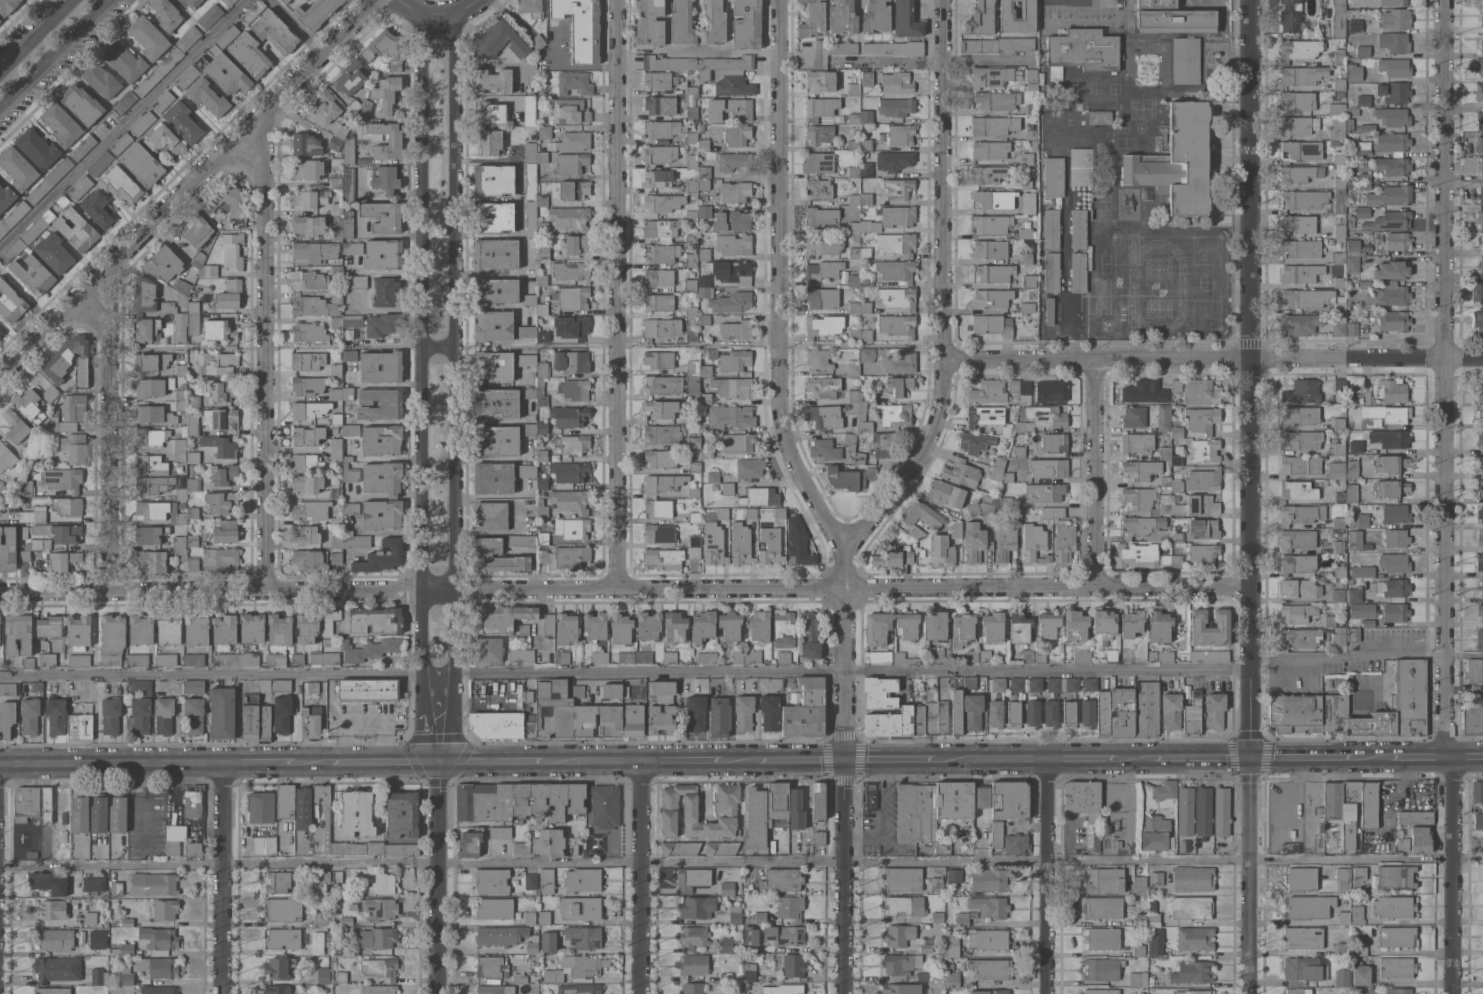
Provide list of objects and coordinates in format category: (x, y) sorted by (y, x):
building: (285, 1)
road: (1081, 1)
building: (1480, 1)
building: (192, 2)
building: (229, 2)
building: (1381, 2)
park: (437, 5)
road: (464, 5)
building: (7, 6)
building: (531, 7)
building: (254, 10)
building: (316, 12)
road: (425, 12)
building: (1007, 12)
building: (167, 14)
building: (210, 15)
building: (876, 16)
building: (1291, 16)
building: (843, 17)
building: (980, 18)
building: (1173, 18)
building: (1339, 18)
building: (1396, 18)
building: (813, 19)
building: (906, 19)
building: (1481, 19)
building: (0, 20)
building: (682, 22)
building: (714, 22)
building: (649, 24)
building: (747, 24)
building: (1355, 25)
building: (581, 27)
road: (297, 29)
building: (275, 31)
road: (35, 35)
building: (228, 35)
building: (148, 37)
building: (188, 37)
building: (499, 40)
building: (537, 41)
building: (1481, 41)
building: (1394, 42)
building: (1016, 43)
building: (172, 45)
building: (979, 45)
building: (842, 47)
building: (878, 47)
building: (909, 48)
building: (384, 49)
building: (1084, 49)
building: (1299, 49)
building: (1363, 51)
road: (53, 53)
building: (250, 54)
building: (821, 54)
building: (1339, 56)
road: (975, 59)
building: (170, 60)
building: (1186, 60)
building: (125, 61)
building: (654, 62)
building: (744, 62)
road: (889, 62)
building: (682, 63)
building: (715, 63)
building: (1480, 65)
building: (1395, 66)
road: (569, 67)
building: (1059, 69)
building: (224, 71)
building: (690, 71)
building: (1354, 72)
building: (530, 73)
building: (704, 75)
building: (993, 75)
building: (1303, 75)
building: (188, 77)
building: (350, 77)
building: (867, 78)
building: (1031, 78)
building: (101, 79)
building: (659, 79)
building: (492, 80)
building: (821, 80)
building: (148, 81)
building: (575, 82)
building: (897, 82)
building: (734, 83)
building: (1339, 83)
building: (692, 89)
building: (853, 89)
building: (1479, 91)
building: (386, 92)
building: (536, 92)
building: (540, 92)
building: (1394, 92)
building: (1340, 94)
building: (208, 96)
building: (1329, 98)
building: (997, 99)
building: (164, 100)
building: (1298, 100)
building: (1364, 100)
building: (124, 102)
building: (82, 103)
building: (660, 104)
building: (354, 105)
building: (897, 106)
building: (325, 107)
building: (821, 107)
building: (729, 108)
building: (1030, 109)
building: (1342, 109)
building: (365, 110)
building: (529, 110)
building: (569, 110)
building: (491, 112)
building: (692, 112)
building: (855, 116)
building: (866, 116)
building: (1100, 116)
building: (1393, 116)
building: (1480, 119)
building: (183, 120)
building: (143, 123)
building: (61, 124)
road: (125, 124)
building: (994, 124)
building: (1299, 124)
building: (1349, 124)
building: (701, 127)
building: (1366, 127)
building: (662, 128)
building: (1338, 129)
building: (341, 131)
building: (545, 131)
building: (1053, 131)
building: (737, 134)
building: (819, 134)
building: (901, 134)
building: (1031, 134)
building: (692, 137)
building: (395, 139)
building: (165, 140)
building: (571, 140)
building: (490, 141)
building: (121, 142)
building: (335, 142)
building: (1393, 142)
building: (305, 144)
building: (704, 144)
building: (854, 144)
building: (867, 144)
building: (1034, 145)
building: (1480, 146)
building: (37, 147)
building: (83, 147)
building: (1364, 148)
building: (349, 149)
building: (990, 149)
building: (1303, 149)
building: (531, 152)
building: (660, 153)
building: (543, 157)
building: (1081, 157)
building: (1339, 157)
building: (1027, 158)
building: (734, 160)
building: (894, 160)
building: (1177, 160)
building: (692, 161)
building: (819, 162)
building: (99, 163)
building: (142, 164)
building: (571, 164)
building: (365, 165)
building: (1393, 165)
building: (1480, 166)
building: (18, 168)
building: (308, 169)
building: (866, 169)
building: (60, 170)
building: (705, 172)
building: (854, 172)
building: (988, 173)
building: (1299, 173)
building: (1053, 176)
building: (1364, 177)
building: (658, 178)
building: (385, 179)
building: (494, 179)
building: (531, 180)
building: (336, 182)
building: (1339, 182)
building: (349, 183)
building: (704, 183)
building: (1026, 183)
building: (121, 184)
building: (1365, 184)
building: (692, 185)
building: (1351, 185)
building: (80, 187)
building: (819, 188)
building: (900, 188)
building: (573, 189)
building: (39, 190)
building: (735, 191)
road: (192, 193)
building: (1391, 195)
building: (1481, 195)
building: (6, 196)
building: (310, 198)
building: (867, 198)
building: (995, 198)
building: (542, 199)
building: (854, 199)
building: (1305, 199)
building: (63, 201)
building: (657, 202)
building: (1339, 203)
building: (1031, 204)
building: (237, 206)
building: (96, 208)
building: (336, 208)
building: (705, 211)
building: (1362, 211)
building: (16, 213)
building: (691, 213)
building: (49, 215)
building: (383, 215)
building: (821, 215)
building: (897, 215)
building: (493, 216)
building: (570, 216)
building: (531, 218)
building: (1480, 218)
building: (731, 220)
building: (1389, 220)
building: (1351, 221)
building: (348, 223)
building: (992, 223)
building: (1298, 223)
building: (309, 224)
building: (854, 226)
building: (870, 226)
building: (3, 227)
building: (543, 227)
building: (1052, 228)
building: (1079, 228)
building: (77, 229)
building: (660, 229)
building: (34, 230)
building: (198, 230)
building: (1339, 231)
building: (336, 233)
building: (1025, 233)
building: (863, 234)
building: (856, 236)
building: (700, 237)
building: (691, 238)
building: (1398, 240)
building: (1331, 241)
building: (529, 242)
building: (576, 243)
building: (734, 243)
building: (824, 243)
building: (897, 243)
building: (1479, 243)
building: (353, 247)
building: (1354, 247)
building: (1301, 248)
building: (13, 249)
building: (232, 249)
building: (990, 249)
building: (315, 250)
building: (54, 252)
building: (543, 252)
building: (704, 252)
building: (855, 252)
building: (866, 252)
building: (495, 253)
building: (663, 253)
building: (384, 254)
building: (199, 256)
building: (1338, 256)
building: (1027, 257)
building: (691, 259)
building: (164, 263)
building: (197, 263)
building: (1353, 263)
building: (1480, 265)
building: (822, 269)
building: (896, 269)
building: (1392, 269)
building: (209, 270)
building: (337, 270)
building: (572, 270)
building: (730, 270)
building: (530, 271)
building: (1052, 271)
building: (995, 272)
building: (1078, 272)
building: (1302, 273)
building: (33, 274)
building: (531, 276)
building: (658, 277)
building: (543, 279)
building: (854, 279)
building: (867, 279)
building: (308, 280)
building: (355, 281)
building: (704, 281)
building: (1029, 281)
building: (1339, 281)
building: (691, 284)
building: (1365, 284)
building: (183, 286)
road: (941, 288)
building: (496, 290)
building: (386, 291)
building: (1477, 291)
building: (706, 292)
building: (145, 294)
building: (230, 294)
building: (1389, 294)
road: (618, 295)
building: (572, 297)
building: (822, 297)
building: (898, 297)
building: (992, 297)
building: (1308, 297)
road: (27, 298)
building: (182, 298)
building: (194, 299)
building: (529, 299)
building: (731, 301)
building: (11, 302)
building: (659, 302)
building: (1340, 303)
building: (317, 304)
building: (167, 306)
building: (866, 306)
building: (1028, 306)
building: (855, 307)
building: (543, 308)
building: (691, 311)
building: (1050, 311)
building: (704, 319)
building: (353, 320)
building: (1394, 320)
building: (1478, 320)
building: (337, 321)
building: (194, 323)
building: (1300, 323)
building: (1339, 323)
building: (383, 324)
building: (493, 324)
building: (897, 324)
building: (993, 324)
building: (823, 325)
building: (181, 326)
building: (572, 326)
building: (661, 326)
building: (147, 328)
building: (1352, 328)
building: (220, 329)
building: (737, 329)
building: (308, 331)
building: (527, 331)
building: (1, 332)
building: (337, 332)
building: (854, 334)
building: (867, 334)
building: (543, 335)
building: (691, 335)
road: (22, 339)
road: (697, 345)
road: (438, 347)
road: (263, 348)
building: (712, 353)
building: (350, 355)
building: (867, 355)
road: (1211, 357)
building: (659, 358)
building: (819, 358)
road: (263, 359)
building: (526, 359)
building: (152, 360)
building: (308, 360)
building: (69, 361)
building: (572, 361)
building: (736, 361)
building: (219, 362)
building: (901, 362)
building: (381, 366)
building: (494, 366)
building: (336, 368)
building: (853, 368)
building: (182, 369)
building: (542, 369)
building: (707, 370)
building: (693, 379)
road: (1249, 379)
building: (308, 384)
building: (662, 384)
building: (1339, 384)
building: (900, 385)
building: (1014, 385)
building: (1177, 385)
building: (153, 386)
road: (455, 386)
building: (733, 386)
building: (824, 386)
road: (422, 387)
building: (1025, 387)
building: (575, 388)
building: (1052, 389)
building: (223, 390)
building: (1394, 390)
building: (530, 391)
building: (988, 391)
building: (1145, 391)
building: (1302, 391)
building: (50, 392)
building: (1201, 392)
building: (336, 393)
building: (348, 393)
building: (542, 393)
building: (1480, 393)
building: (181, 394)
building: (868, 395)
building: (854, 396)
building: (1364, 396)
building: (706, 397)
building: (194, 401)
building: (380, 403)
building: (496, 403)
building: (29, 404)
building: (181, 405)
building: (74, 407)
building: (853, 407)
building: (663, 408)
building: (843, 408)
building: (305, 409)
building: (1479, 409)
building: (57, 411)
building: (1350, 411)
building: (1386, 412)
building: (154, 414)
building: (894, 414)
building: (1300, 414)
building: (569, 415)
building: (824, 415)
building: (985, 415)
building: (1045, 415)
building: (730, 416)
building: (1134, 416)
building: (1164, 417)
building: (694, 418)
building: (221, 419)
building: (864, 419)
building: (1202, 419)
building: (193, 423)
building: (1339, 423)
building: (61, 425)
building: (1024, 425)
building: (16, 426)
building: (543, 427)
building: (530, 429)
building: (351, 430)
building: (1006, 430)
building: (1177, 431)
building: (662, 433)
building: (307, 434)
building: (149, 436)
building: (541, 436)
road: (104, 437)
building: (1390, 438)
building: (1301, 439)
building: (1480, 439)
building: (382, 440)
building: (495, 440)
building: (694, 441)
building: (737, 441)
building: (849, 441)
building: (974, 442)
building: (1055, 442)
building: (179, 443)
building: (336, 443)
building: (575, 443)
building: (1137, 443)
building: (886, 444)
building: (221, 445)
building: (75, 446)
building: (1356, 446)
building: (1175, 447)
building: (1339, 447)
building: (706, 448)
building: (824, 449)
building: (1207, 449)
building: (1019, 451)
building: (1165, 452)
building: (25, 453)
building: (336, 454)
building: (180, 455)
building: (543, 455)
building: (6, 456)
building: (193, 456)
building: (859, 457)
building: (347, 458)
building: (661, 458)
building: (1177, 460)
building: (1000, 461)
building: (305, 462)
building: (1391, 463)
building: (1480, 463)
building: (150, 464)
building: (1300, 465)
building: (694, 466)
building: (750, 467)
building: (1048, 467)
building: (1352, 469)
building: (527, 470)
building: (1336, 470)
road: (1095, 471)
building: (1146, 471)
building: (962, 472)
building: (350, 473)
building: (569, 473)
building: (996, 473)
building: (224, 474)
building: (714, 476)
building: (383, 477)
building: (493, 477)
building: (844, 477)
building: (1007, 477)
building: (63, 478)
building: (1204, 479)
building: (542, 481)
building: (663, 482)
building: (193, 483)
building: (308, 483)
building: (12, 484)
building: (154, 484)
building: (1177, 485)
building: (714, 486)
building: (27, 488)
building: (728, 488)
building: (1391, 488)
building: (1481, 488)
building: (1294, 489)
building: (694, 491)
building: (4, 492)
building: (181, 492)
building: (335, 492)
building: (946, 492)
building: (1044, 492)
building: (1352, 493)
building: (760, 496)
building: (1139, 497)
building: (1340, 497)
road: (1444, 497)
road: (812, 498)
building: (570, 499)
building: (220, 501)
building: (1004, 501)
building: (1165, 504)
building: (68, 505)
building: (1198, 505)
building: (979, 506)
building: (351, 507)
building: (658, 507)
building: (542, 508)
building: (311, 509)
building: (159, 510)
building: (193, 511)
building: (723, 512)
building: (780, 512)
building: (1047, 512)
building: (1059, 512)
building: (751, 513)
building: (1013, 513)
building: (1301, 513)
building: (1396, 513)
building: (1480, 513)
building: (33, 514)
building: (382, 514)
building: (920, 514)
building: (491, 515)
building: (694, 516)
building: (988, 516)
building: (336, 520)
building: (1360, 520)
building: (1339, 522)
building: (189, 526)
building: (571, 527)
building: (1146, 527)
building: (1204, 528)
building: (956, 530)
building: (226, 531)
building: (60, 532)
building: (348, 532)
building: (916, 532)
building: (150, 533)
building: (660, 533)
building: (306, 534)
building: (1178, 537)
building: (1480, 537)
building: (543, 538)
building: (1397, 538)
building: (193, 539)
building: (522, 539)
building: (714, 539)
building: (1297, 539)
building: (1355, 539)
building: (695, 540)
building: (798, 540)
building: (1064, 540)
building: (336, 541)
building: (357, 541)
building: (975, 541)
building: (179, 542)
building: (1005, 542)
building: (1034, 542)
building: (741, 543)
building: (38, 544)
building: (770, 545)
building: (1338, 546)
building: (1366, 546)
building: (542, 547)
building: (8, 548)
building: (942, 550)
building: (924, 551)
building: (696, 553)
building: (1204, 553)
building: (182, 554)
building: (483, 554)
building: (24, 555)
building: (1141, 555)
building: (381, 556)
building: (1177, 556)
building: (664, 557)
building: (895, 557)
building: (336, 558)
building: (565, 558)
building: (215, 559)
building: (63, 560)
building: (151, 560)
building: (311, 560)
building: (1394, 562)
building: (1479, 562)
building: (1297, 563)
building: (1340, 571)
building: (1363, 571)
building: (1350, 581)
building: (1394, 587)
building: (1481, 587)
building: (1300, 588)
road: (624, 590)
building: (1338, 594)
building: (1354, 594)
building: (1363, 609)
building: (1480, 609)
building: (1297, 612)
building: (1396, 612)
building: (501, 617)
building: (330, 618)
building: (376, 619)
building: (1329, 620)
building: (1131, 622)
building: (1369, 622)
building: (549, 623)
building: (648, 624)
building: (908, 624)
building: (1048, 624)
building: (1075, 624)
building: (1104, 624)
building: (595, 625)
building: (730, 625)
building: (759, 625)
building: (935, 625)
building: (49, 626)
building: (252, 626)
building: (675, 626)
building: (703, 626)
building: (993, 626)
building: (1159, 626)
building: (566, 627)
building: (878, 627)
building: (963, 627)
building: (1019, 627)
building: (1210, 627)
building: (141, 628)
building: (169, 628)
building: (280, 628)
building: (307, 628)
building: (621, 628)
building: (783, 628)
building: (197, 629)
building: (224, 629)
building: (524, 629)
building: (78, 630)
building: (18, 633)
building: (1353, 634)
building: (810, 635)
building: (1339, 636)
building: (1300, 638)
building: (1479, 638)
building: (112, 639)
building: (327, 641)
building: (369, 648)
building: (488, 649)
building: (644, 653)
building: (938, 654)
building: (1152, 654)
road: (1463, 654)
building: (521, 655)
building: (600, 655)
building: (972, 655)
building: (985, 655)
building: (1028, 655)
building: (1112, 655)
building: (1209, 655)
building: (561, 656)
building: (626, 656)
building: (738, 656)
building: (752, 656)
building: (880, 656)
building: (1041, 656)
building: (1082, 656)
building: (1165, 656)
road: (1346, 656)
building: (316, 657)
building: (331, 657)
building: (669, 657)
building: (707, 657)
building: (784, 657)
building: (166, 658)
building: (194, 658)
building: (228, 658)
building: (249, 658)
building: (277, 658)
building: (299, 658)
building: (905, 658)
building: (47, 659)
building: (79, 659)
building: (139, 659)
building: (28, 662)
building: (1474, 670)
road: (851, 671)
road: (227, 674)
road: (97, 678)
building: (970, 682)
building: (1072, 683)
building: (1090, 683)
building: (999, 684)
building: (1017, 684)
building: (1035, 684)
building: (1054, 684)
building: (281, 685)
building: (140, 686)
building: (193, 686)
building: (313, 686)
building: (8, 688)
building: (350, 690)
building: (382, 690)
building: (611, 690)
building: (579, 691)
building: (625, 691)
building: (881, 692)
building: (1475, 692)
building: (529, 695)
building: (1398, 704)
building: (662, 707)
building: (1146, 708)
building: (527, 709)
building: (554, 709)
building: (806, 709)
building: (1172, 709)
building: (1215, 709)
building: (744, 711)
building: (770, 711)
building: (973, 711)
building: (1123, 711)
building: (222, 712)
building: (696, 712)
building: (957, 712)
building: (996, 712)
building: (1033, 712)
building: (1051, 712)
building: (1088, 712)
building: (1104, 712)
building: (1014, 713)
building: (1069, 713)
building: (1296, 713)
building: (1334, 713)
building: (164, 714)
building: (282, 714)
building: (1193, 714)
building: (30, 715)
building: (56, 715)
building: (111, 715)
building: (141, 715)
building: (194, 715)
building: (256, 716)
building: (720, 716)
building: (942, 717)
building: (7, 718)
building: (1473, 718)
building: (584, 719)
building: (633, 719)
building: (919, 719)
building: (611, 720)
building: (891, 721)
building: (128, 723)
building: (531, 723)
building: (932, 723)
building: (497, 724)
building: (79, 725)
building: (313, 725)
road: (1406, 757)
road: (1465, 757)
road: (1186, 758)
traffic signals: (1249, 758)
road: (1307, 758)
road: (741, 759)
road: (805, 759)
road: (894, 759)
road: (996, 759)
road: (1086, 759)
road: (678, 760)
traffic signals: (845, 760)
road: (312, 761)
road: (384, 761)
traffic signals: (438, 761)
road: (491, 761)
road: (592, 761)
road: (113, 762)
road: (260, 762)
building: (1148, 788)
building: (1164, 790)
building: (1478, 791)
building: (870, 796)
building: (982, 796)
building: (576, 797)
building: (522, 799)
building: (540, 799)
building: (955, 799)
building: (1010, 799)
building: (818, 800)
building: (286, 801)
building: (485, 801)
building: (558, 801)
building: (26, 802)
building: (193, 803)
building: (46, 804)
building: (1369, 804)
building: (605, 805)
building: (1085, 805)
building: (261, 807)
building: (303, 807)
building: (726, 809)
building: (796, 809)
building: (778, 810)
building: (1185, 810)
building: (1319, 810)
building: (324, 811)
building: (1222, 811)
building: (1350, 811)
building: (356, 812)
building: (916, 812)
building: (1204, 812)
building: (80, 813)
building: (99, 813)
building: (118, 813)
building: (402, 813)
road: (883, 816)
building: (1334, 816)
building: (1416, 816)
building: (756, 817)
building: (1478, 820)
building: (500, 832)
building: (1156, 833)
building: (997, 834)
building: (819, 837)
building: (1420, 839)
building: (470, 842)
building: (556, 842)
building: (542, 843)
building: (1015, 843)
building: (1117, 843)
building: (1404, 843)
building: (265, 845)
building: (1185, 845)
building: (173, 847)
building: (358, 847)
building: (521, 847)
building: (679, 847)
building: (721, 847)
building: (944, 847)
building: (402, 848)
building: (193, 849)
building: (32, 854)
road: (741, 862)
building: (1360, 872)
building: (344, 875)
road: (1247, 875)
building: (324, 876)
building: (953, 876)
road: (1047, 876)
building: (1396, 876)
road: (436, 877)
road: (639, 877)
road: (224, 878)
building: (692, 878)
building: (903, 878)
building: (1156, 878)
building: (1192, 878)
building: (1301, 878)
building: (1342, 878)
building: (583, 879)
building: (781, 879)
building: (989, 879)
building: (547, 880)
building: (1106, 880)
building: (277, 881)
building: (492, 881)
building: (531, 881)
building: (49, 882)
building: (933, 882)
building: (94, 883)
building: (153, 883)
building: (381, 884)
building: (1139, 885)
building: (328, 887)
building: (727, 888)
building: (93, 894)
building: (948, 898)
building: (904, 905)
building: (353, 906)
building: (697, 906)
building: (790, 906)
building: (990, 906)
building: (1309, 906)
building: (1393, 906)
building: (379, 907)
building: (495, 907)
building: (580, 907)
building: (1103, 907)
building: (1192, 907)
building: (53, 908)
building: (164, 909)
building: (283, 909)
building: (1153, 913)
building: (735, 914)
building: (1357, 915)
building: (937, 916)
building: (530, 917)
building: (545, 917)
building: (760, 917)
building: (1344, 917)
building: (322, 918)
building: (1142, 918)
building: (963, 919)
building: (347, 920)
building: (127, 921)
building: (748, 931)
building: (500, 934)
building: (783, 934)
building: (898, 934)
building: (329, 935)
building: (98, 936)
building: (693, 936)
building: (1397, 936)
building: (158, 937)
building: (383, 937)
building: (588, 937)
building: (1305, 937)
building: (282, 938)
building: (989, 938)
building: (1101, 938)
building: (1195, 938)
building: (56, 939)
building: (548, 940)
building: (1156, 941)
building: (329, 943)
building: (315, 944)
building: (727, 944)
building: (952, 945)
building: (532, 947)
building: (754, 947)
building: (927, 947)
building: (936, 947)
building: (1343, 948)
building: (1361, 948)
building: (123, 949)
building: (348, 949)
building: (1139, 950)
building: (159, 952)
building: (793, 964)
building: (159, 965)
building: (692, 965)
building: (904, 965)
building: (492, 966)
building: (585, 966)
building: (279, 967)
building: (380, 967)
building: (1397, 967)
building: (57, 968)
building: (991, 968)
building: (1103, 968)
building: (1304, 969)
building: (1192, 971)
building: (750, 972)
building: (1361, 973)
building: (125, 975)
building: (325, 975)
building: (549, 975)
building: (98, 976)
building: (341, 976)
building: (1343, 977)
building: (519, 978)
building: (1138, 978)
building: (952, 979)
building: (97, 987)
building: (579, 988)
building: (693, 988)
building: (901, 988)
building: (158, 989)
building: (277, 989)
building: (379, 989)
building: (495, 989)
building: (784, 989)
building: (53, 990)
building: (1298, 990)
building: (991, 991)
building: (1102, 991)
building: (1390, 991)
building: (1193, 992)

